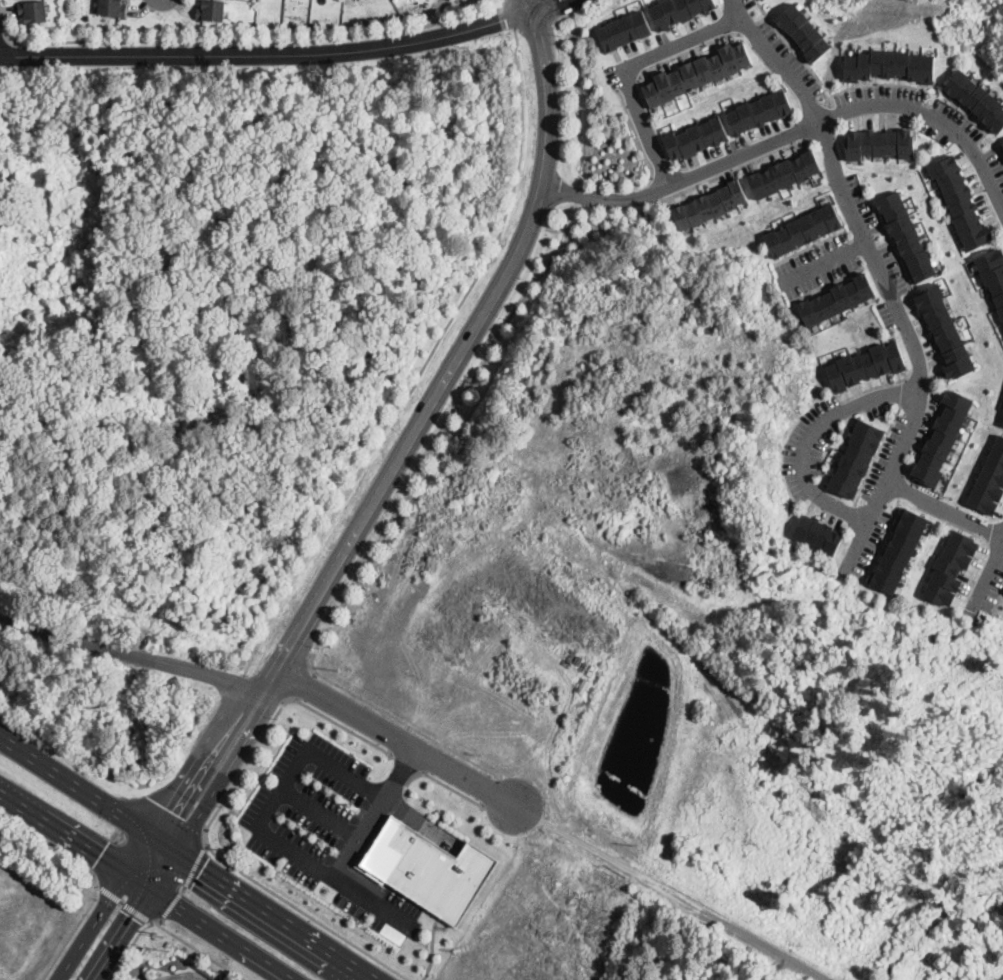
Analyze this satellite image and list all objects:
road: (555, 6)
road: (533, 7)
building: (111, 8)
building: (211, 10)
building: (677, 10)
building: (33, 11)
road: (508, 16)
building: (623, 29)
building: (804, 31)
road: (5, 38)
road: (257, 40)
road: (270, 60)
building: (890, 65)
road: (629, 70)
building: (696, 73)
building: (977, 99)
building: (759, 111)
road: (791, 131)
building: (696, 137)
building: (880, 143)
building: (1002, 143)
building: (1002, 146)
building: (783, 173)
building: (960, 200)
building: (709, 204)
building: (65, 210)
building: (802, 229)
building: (906, 236)
road: (825, 263)
building: (993, 273)
road: (881, 275)
building: (836, 299)
building: (945, 331)
road: (426, 364)
road: (454, 364)
building: (865, 365)
building: (1002, 423)
building: (942, 438)
road: (814, 442)
building: (854, 457)
building: (989, 480)
road: (944, 507)
building: (194, 527)
building: (818, 533)
building: (899, 549)
building: (950, 567)
road: (987, 577)
road: (132, 651)
road: (254, 680)
road: (304, 685)
road: (272, 695)
road: (399, 718)
road: (338, 723)
road: (399, 739)
road: (201, 753)
road: (427, 755)
road: (404, 763)
road: (226, 771)
road: (240, 772)
road: (401, 775)
road: (436, 779)
road: (282, 789)
road: (490, 789)
traffic signals: (169, 808)
road: (170, 813)
road: (322, 814)
road: (549, 824)
parking lot: (326, 827)
road: (114, 832)
road: (205, 843)
road: (51, 845)
traffic signals: (98, 854)
road: (186, 860)
building: (426, 867)
road: (160, 869)
traffic signals: (201, 869)
road: (145, 886)
road: (184, 886)
road: (125, 904)
road: (103, 906)
road: (304, 912)
traffic signals: (130, 914)
road: (933, 920)
road: (433, 924)
road: (73, 933)
road: (117, 933)
road: (129, 947)
road: (200, 950)
parking lot: (140, 977)

